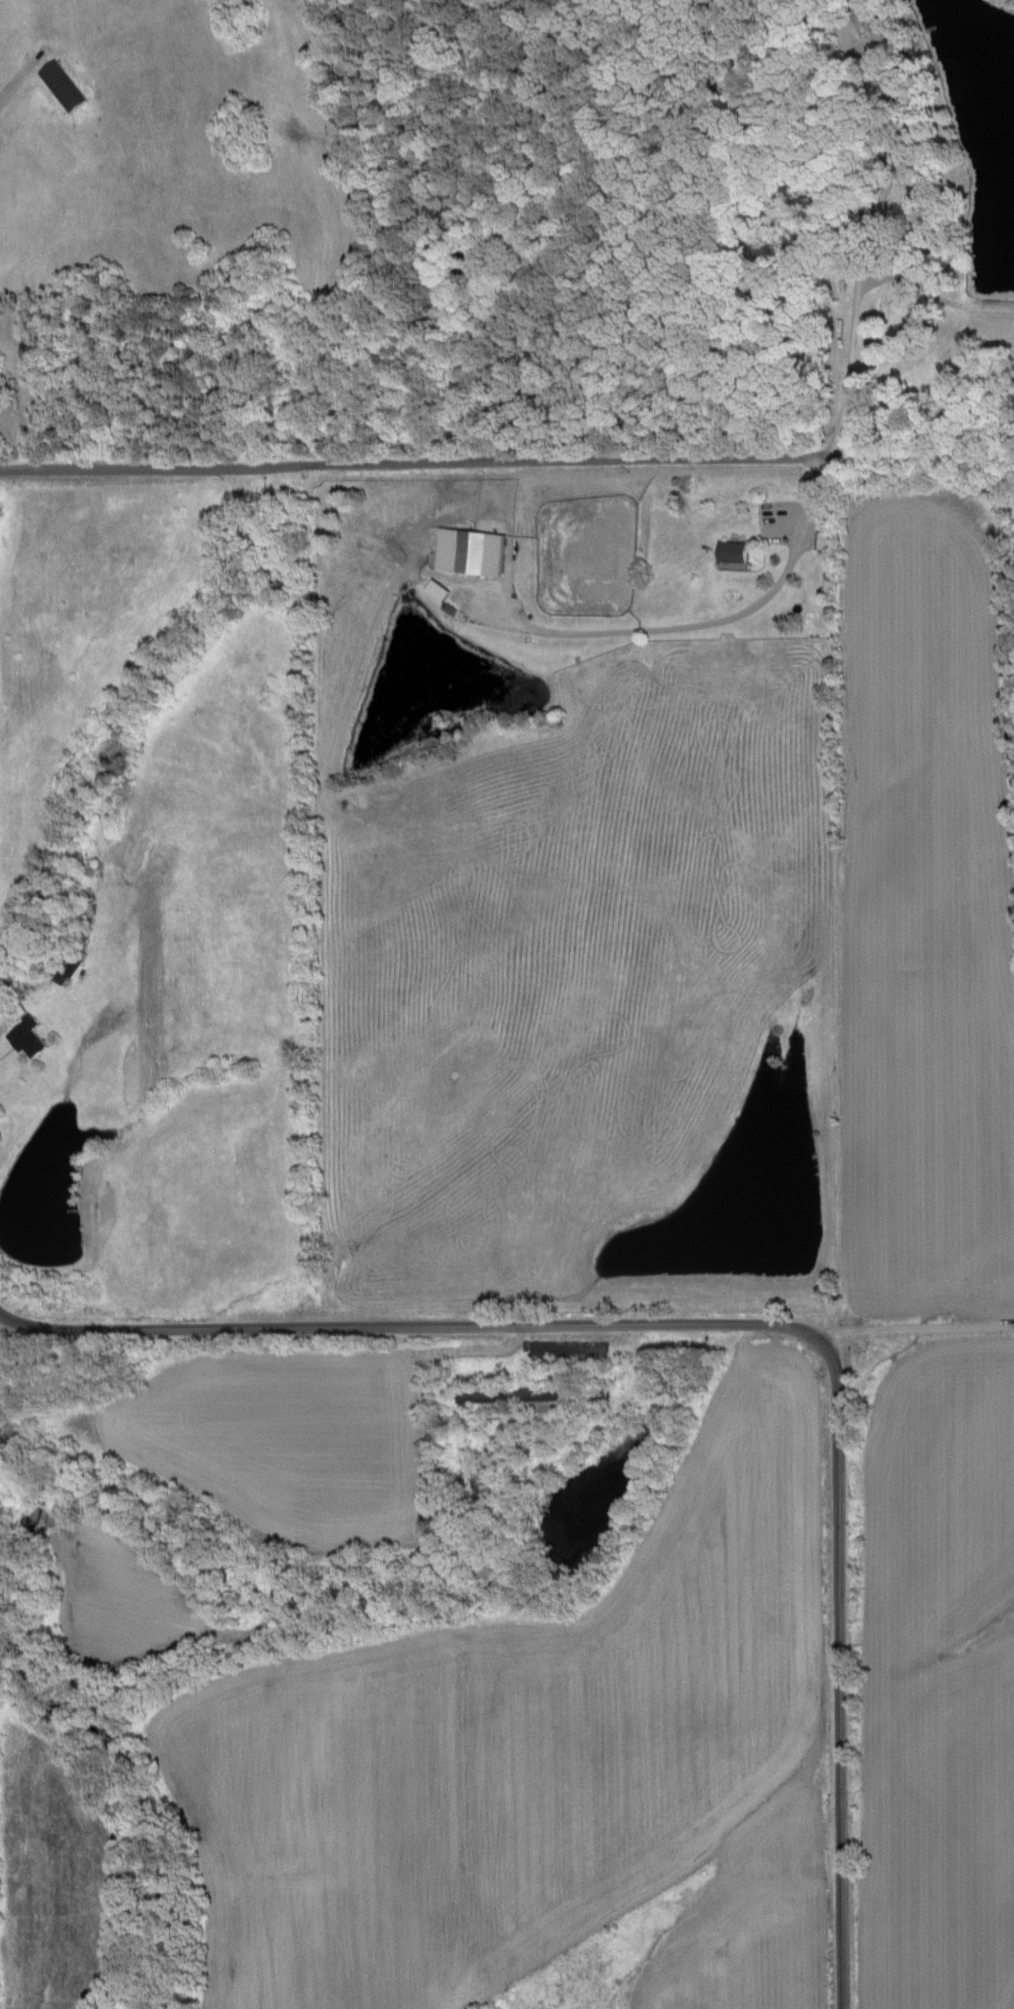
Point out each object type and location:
building: (867, 19)
building: (59, 84)
road: (484, 455)
building: (467, 549)
building: (730, 549)
building: (434, 588)
building: (26, 1035)
road: (496, 1311)
crop: (116, 1592)
road: (844, 1753)

